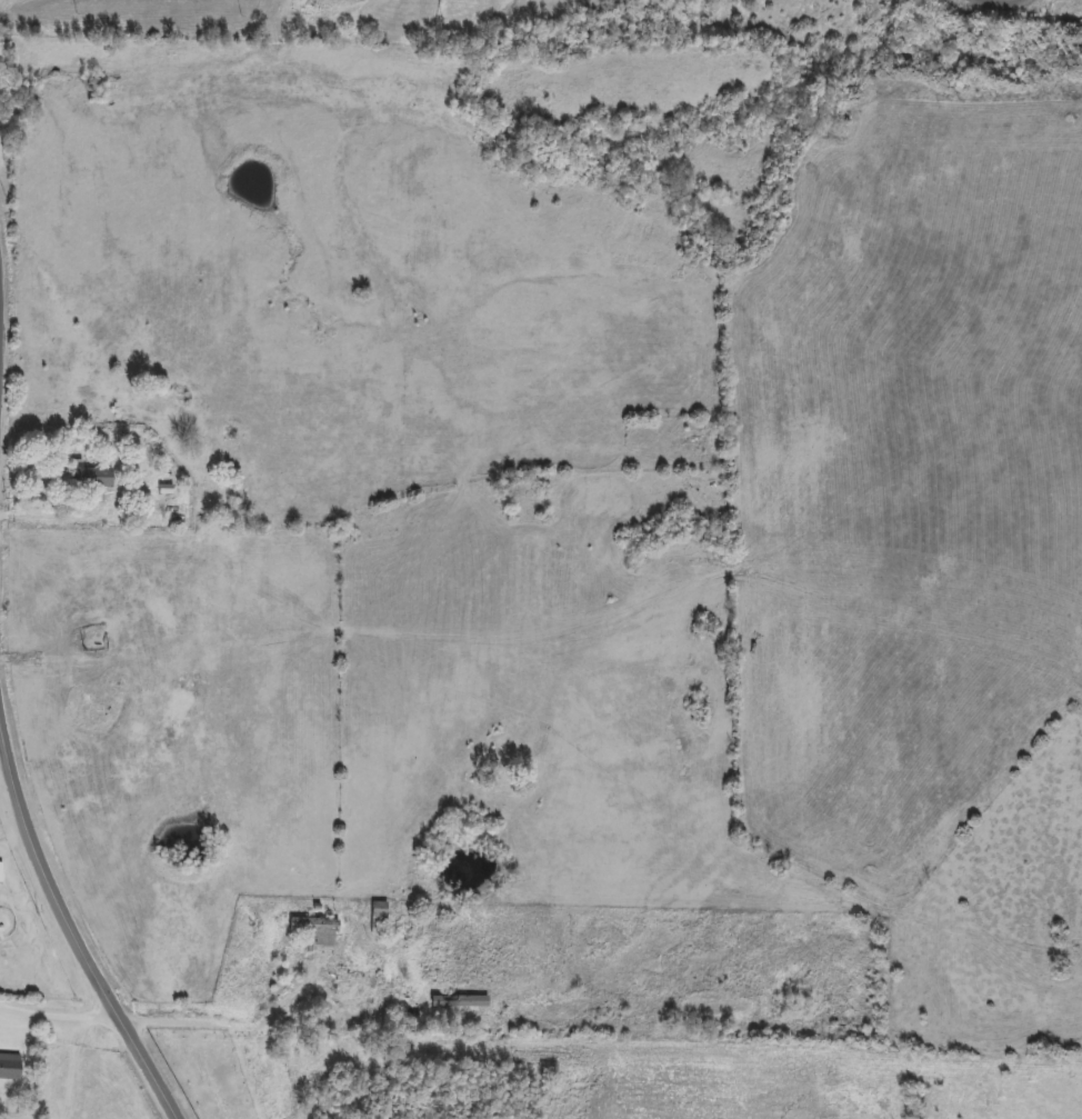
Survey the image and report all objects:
road: (0, 303)
building: (93, 479)
road: (60, 519)
building: (88, 625)
building: (1, 872)
building: (380, 917)
building: (319, 931)
road: (71, 939)
building: (461, 1002)
road: (57, 1018)
road: (234, 1032)
building: (12, 1067)

